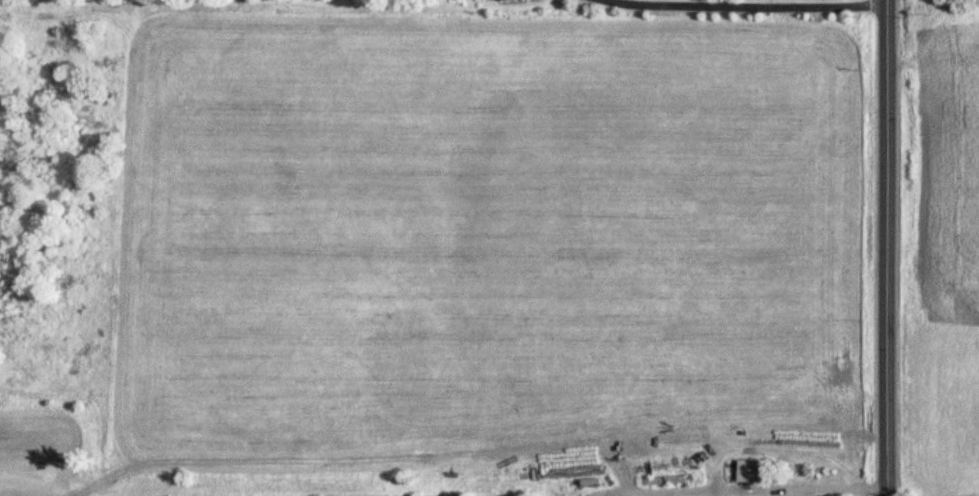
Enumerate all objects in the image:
road: (750, 4)
road: (888, 247)

